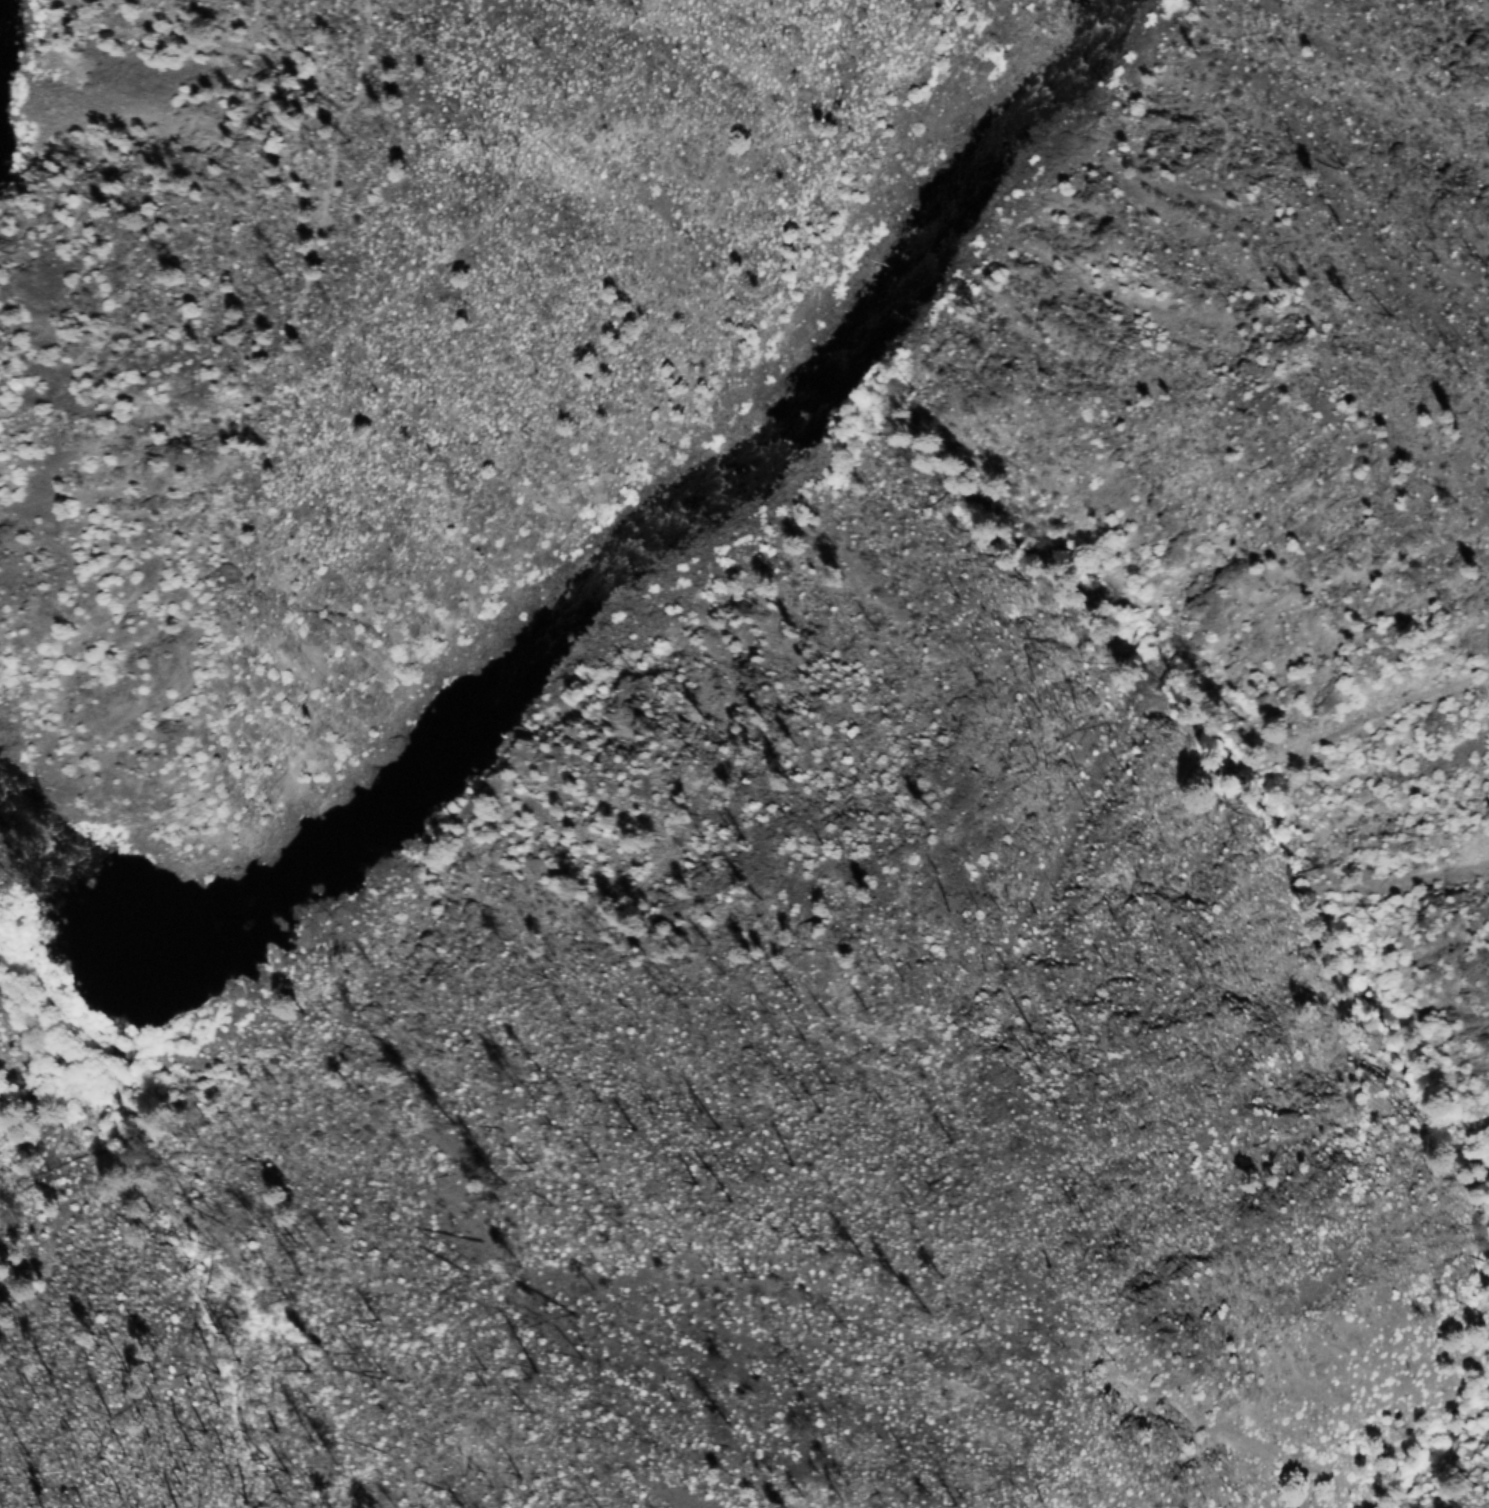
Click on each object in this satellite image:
road: (350, 329)
river: (610, 581)

